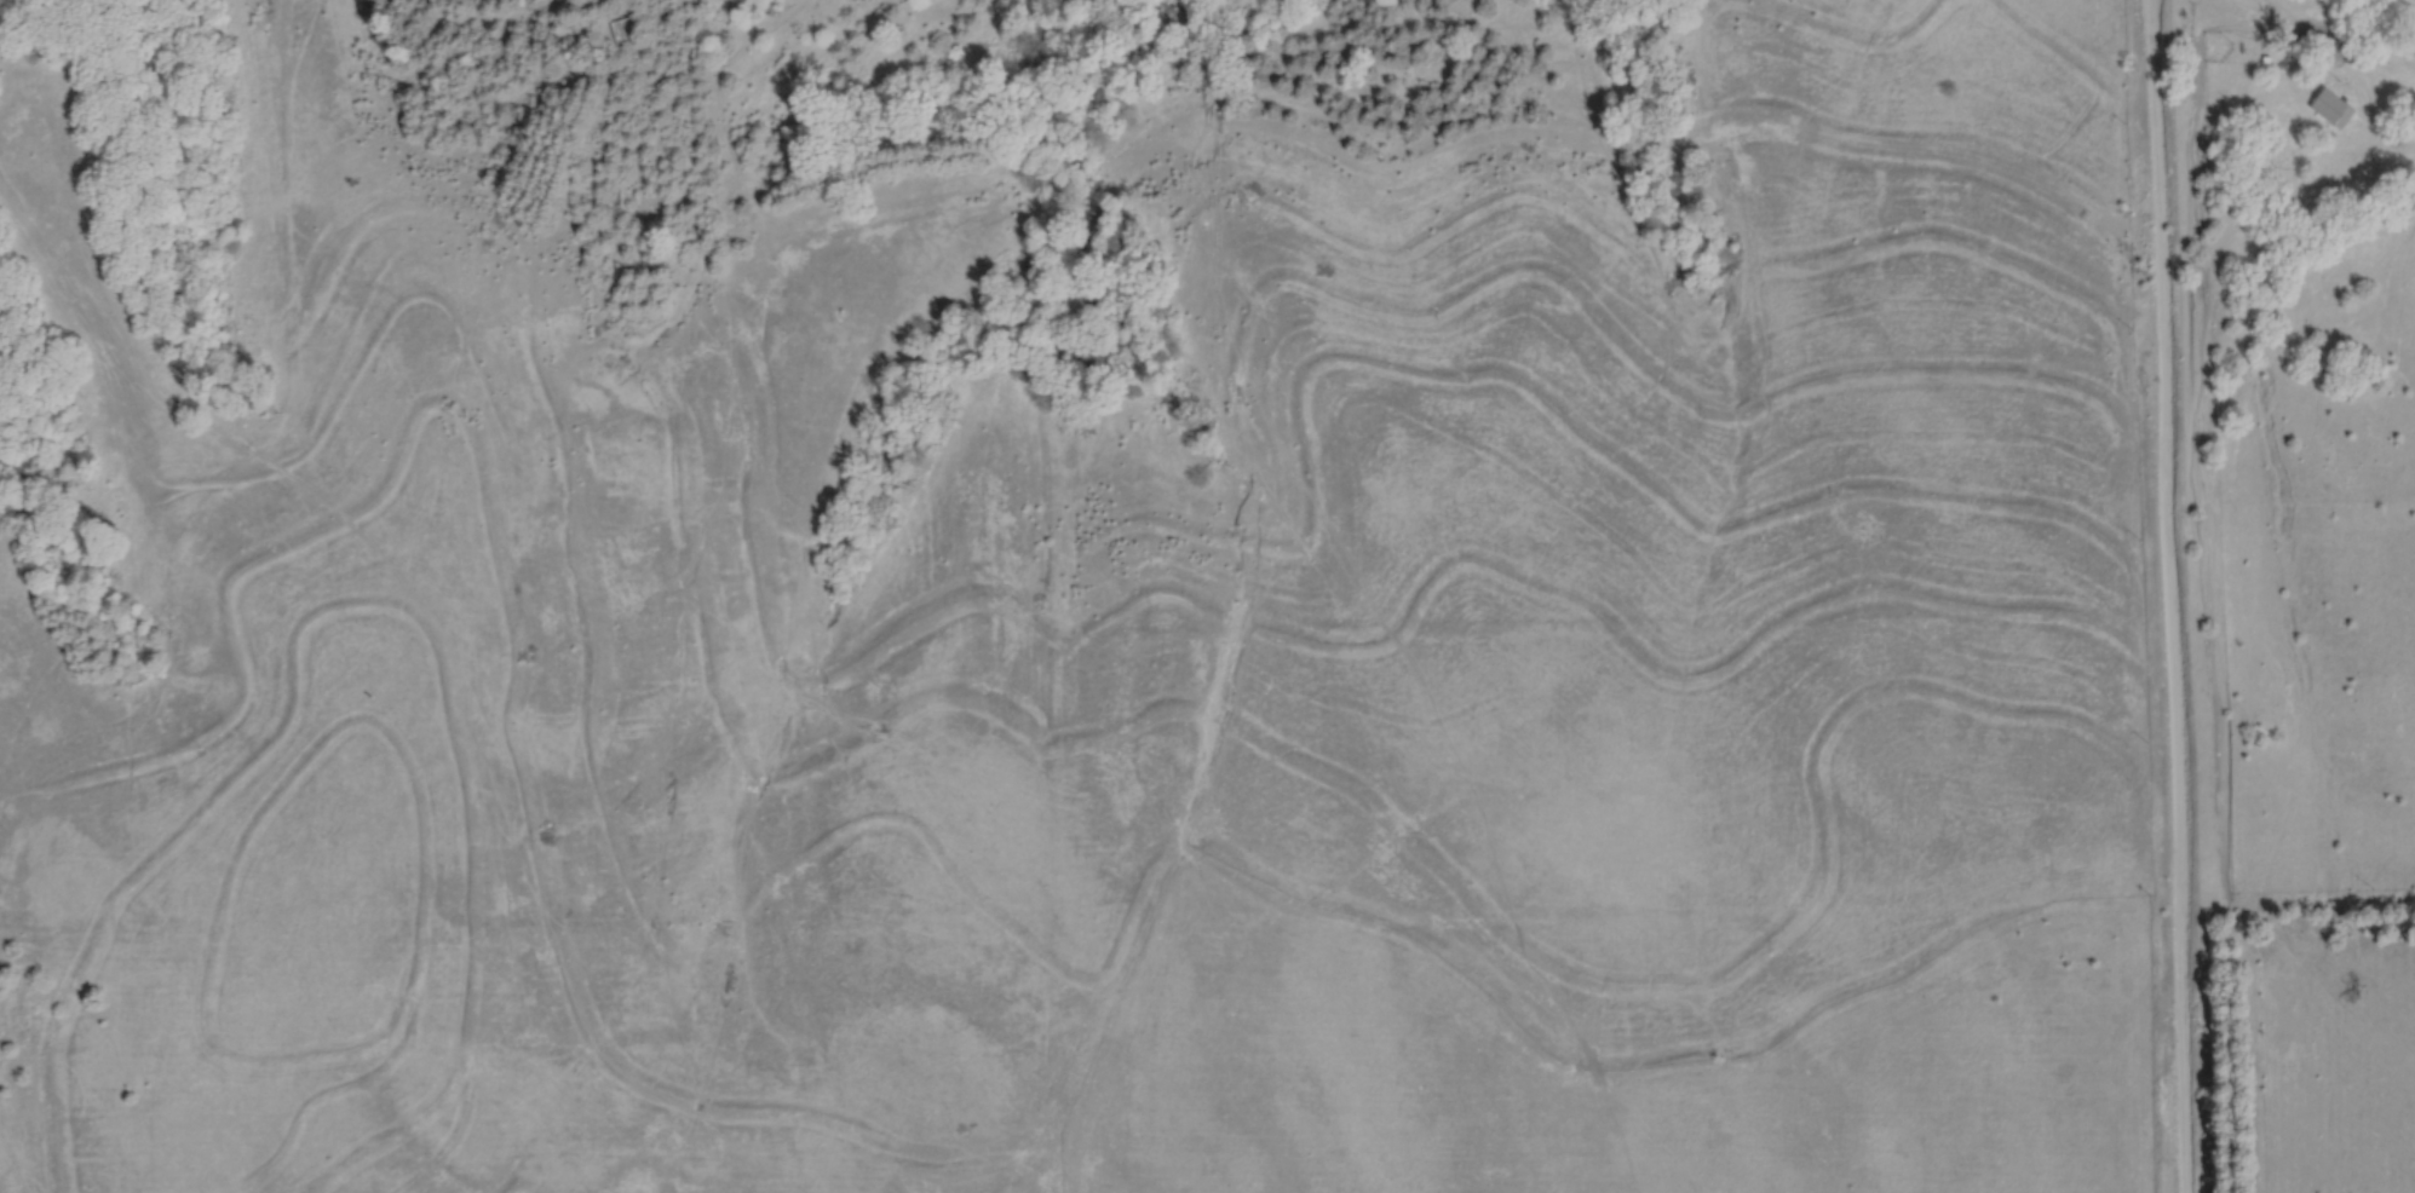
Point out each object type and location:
building: (2336, 102)
road: (2167, 595)

